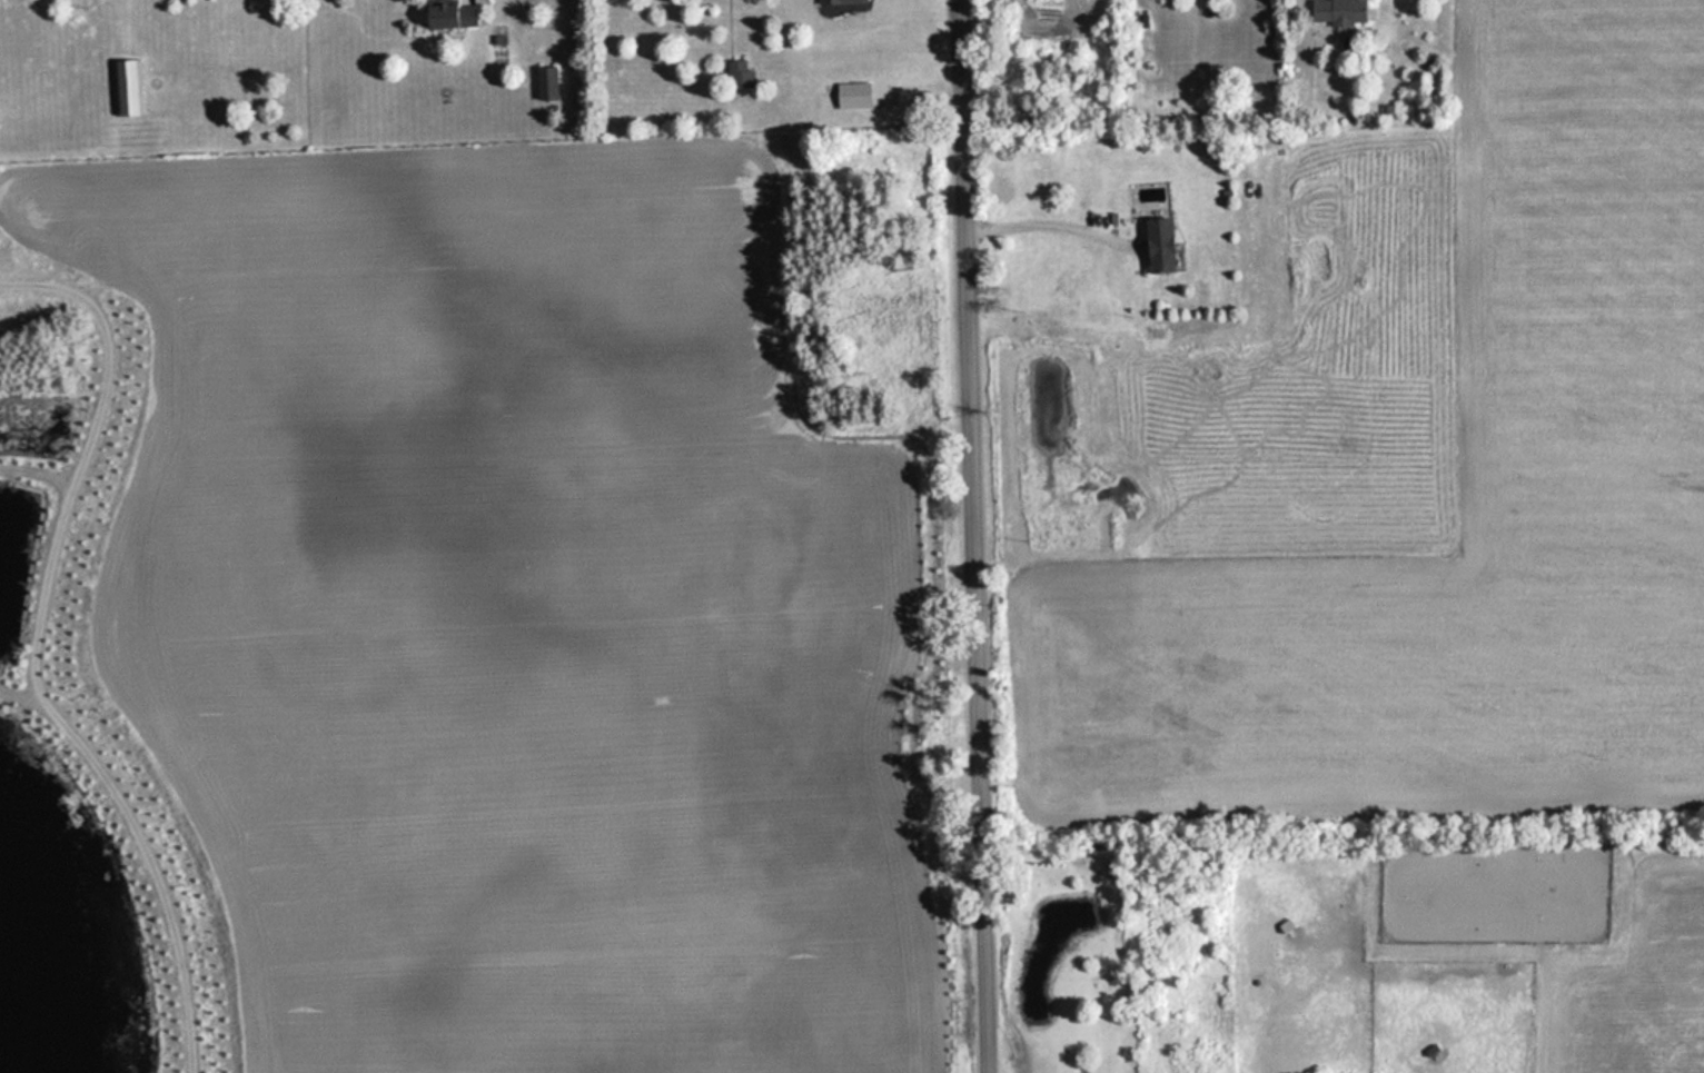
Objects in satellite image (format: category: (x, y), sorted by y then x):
building: (838, 1)
road: (954, 2)
building: (1334, 11)
building: (447, 14)
building: (737, 74)
building: (545, 82)
building: (127, 87)
building: (850, 95)
building: (1156, 245)
building: (790, 511)
road: (970, 539)
building: (908, 610)
building: (804, 789)
building: (791, 834)

